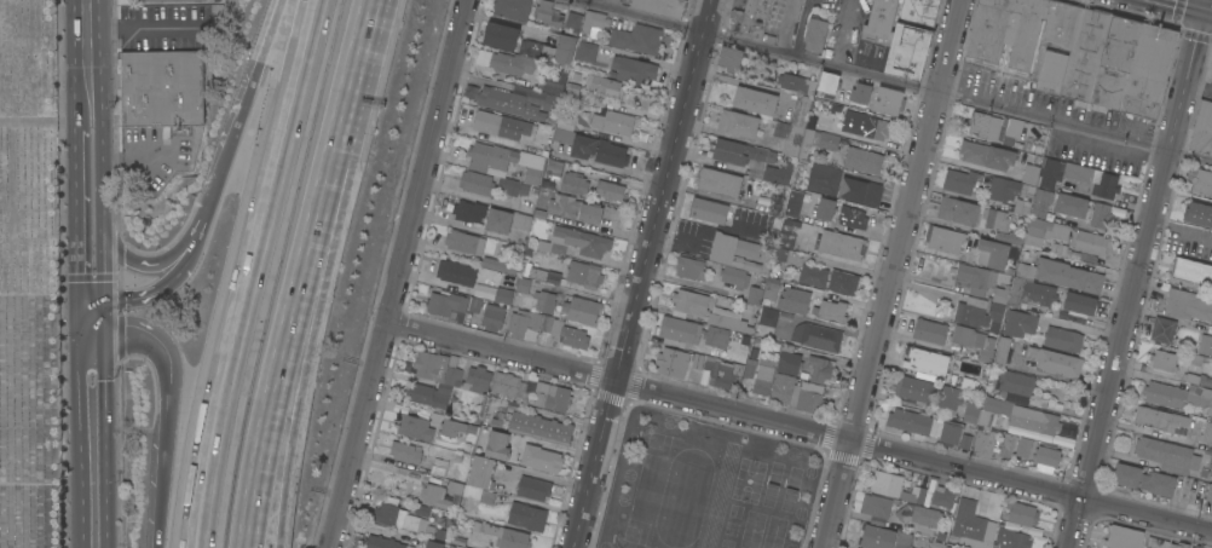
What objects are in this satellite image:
building: (160, 0)
road: (1184, 4)
building: (660, 6)
building: (513, 8)
traffic signals: (1202, 8)
road: (1207, 8)
building: (548, 13)
road: (639, 16)
road: (708, 16)
building: (881, 18)
building: (749, 19)
building: (573, 21)
building: (593, 23)
building: (1060, 24)
road: (144, 27)
building: (1008, 30)
building: (815, 34)
building: (500, 35)
building: (911, 38)
building: (637, 39)
building: (550, 48)
building: (587, 51)
building: (1085, 53)
building: (481, 56)
building: (731, 57)
road: (88, 60)
building: (1116, 60)
building: (510, 63)
building: (1210, 69)
building: (633, 70)
building: (1150, 70)
building: (1051, 71)
road: (252, 77)
building: (553, 80)
building: (793, 82)
building: (829, 82)
building: (604, 86)
building: (162, 88)
building: (572, 91)
building: (860, 93)
road: (957, 98)
building: (503, 100)
building: (755, 100)
building: (888, 100)
building: (552, 103)
building: (801, 110)
building: (826, 110)
building: (566, 119)
road: (44, 121)
building: (614, 122)
building: (738, 123)
building: (501, 125)
road: (90, 126)
building: (865, 127)
building: (988, 127)
road: (341, 128)
building: (1202, 128)
building: (562, 135)
building: (793, 138)
building: (825, 140)
building: (583, 146)
building: (739, 152)
building: (611, 154)
building: (987, 155)
building: (862, 160)
building: (504, 161)
building: (1078, 171)
building: (553, 172)
building: (755, 173)
building: (778, 173)
building: (1049, 173)
building: (1029, 174)
building: (824, 178)
building: (960, 180)
building: (1200, 180)
building: (573, 181)
building: (718, 181)
road: (91, 183)
building: (477, 183)
building: (512, 186)
building: (1106, 186)
building: (611, 188)
building: (853, 190)
building: (873, 194)
building: (1011, 195)
road: (208, 197)
building: (1041, 202)
building: (793, 203)
building: (564, 204)
building: (778, 204)
building: (1070, 204)
building: (825, 208)
building: (468, 210)
building: (709, 210)
building: (958, 210)
building: (590, 213)
building: (1101, 214)
building: (1202, 215)
building: (853, 217)
building: (998, 219)
building: (506, 220)
building: (1044, 231)
building: (787, 232)
building: (1008, 236)
building: (943, 238)
building: (584, 241)
building: (464, 242)
building: (1089, 242)
building: (841, 244)
building: (1057, 249)
building: (739, 253)
building: (992, 253)
building: (780, 254)
road: (142, 264)
building: (500, 265)
building: (689, 267)
building: (1025, 270)
building: (1191, 271)
road: (252, 272)
building: (456, 272)
road: (92, 273)
road: (400, 273)
building: (584, 273)
road: (893, 273)
road: (1137, 273)
building: (813, 275)
building: (1068, 275)
building: (543, 276)
building: (734, 276)
building: (975, 277)
park: (31, 278)
building: (843, 282)
building: (523, 284)
building: (771, 288)
road: (639, 289)
road: (156, 292)
building: (1034, 292)
building: (1000, 294)
building: (503, 295)
building: (755, 295)
building: (793, 300)
building: (541, 301)
building: (474, 304)
building: (1079, 304)
building: (1188, 305)
building: (448, 306)
building: (582, 310)
building: (706, 310)
building: (831, 311)
traffic signals: (93, 313)
building: (980, 313)
building: (768, 316)
building: (492, 317)
building: (1020, 323)
building: (525, 324)
building: (680, 329)
building: (1162, 329)
building: (929, 330)
building: (565, 331)
building: (716, 336)
building: (818, 336)
building: (1063, 339)
building: (971, 341)
building: (1205, 345)
building: (739, 351)
building: (1000, 351)
building: (789, 358)
building: (1164, 359)
building: (925, 360)
building: (677, 362)
building: (751, 363)
building: (1058, 363)
building: (820, 368)
building: (722, 371)
building: (763, 376)
building: (1196, 379)
building: (444, 380)
building: (508, 383)
building: (1014, 385)
building: (914, 388)
building: (796, 393)
building: (1177, 394)
building: (553, 397)
building: (950, 397)
road: (276, 400)
road: (293, 402)
building: (1211, 405)
road: (169, 406)
building: (971, 410)
building: (1161, 420)
building: (1044, 421)
building: (1003, 423)
building: (925, 425)
building: (415, 427)
building: (457, 427)
road: (800, 427)
building: (539, 428)
road: (94, 429)
building: (1207, 432)
building: (983, 440)
building: (963, 442)
building: (498, 445)
building: (1008, 445)
building: (1023, 446)
building: (1047, 455)
building: (1167, 455)
building: (419, 457)
building: (538, 457)
building: (1211, 473)
building: (483, 478)
building: (1144, 479)
building: (887, 483)
building: (533, 488)
building: (1208, 491)
building: (1196, 492)
building: (441, 495)
building: (914, 495)
building: (942, 496)
building: (877, 504)
building: (1022, 513)
building: (394, 514)
building: (919, 515)
building: (527, 517)
building: (970, 525)
building: (475, 526)
building: (507, 536)
building: (877, 537)
building: (1122, 537)
building: (904, 538)
building: (1017, 541)
building: (381, 542)
building: (1156, 542)
building: (433, 544)
building: (457, 546)
building: (1179, 546)
building: (1197, 546)
building: (1190, 547)
building: (1191, 547)

